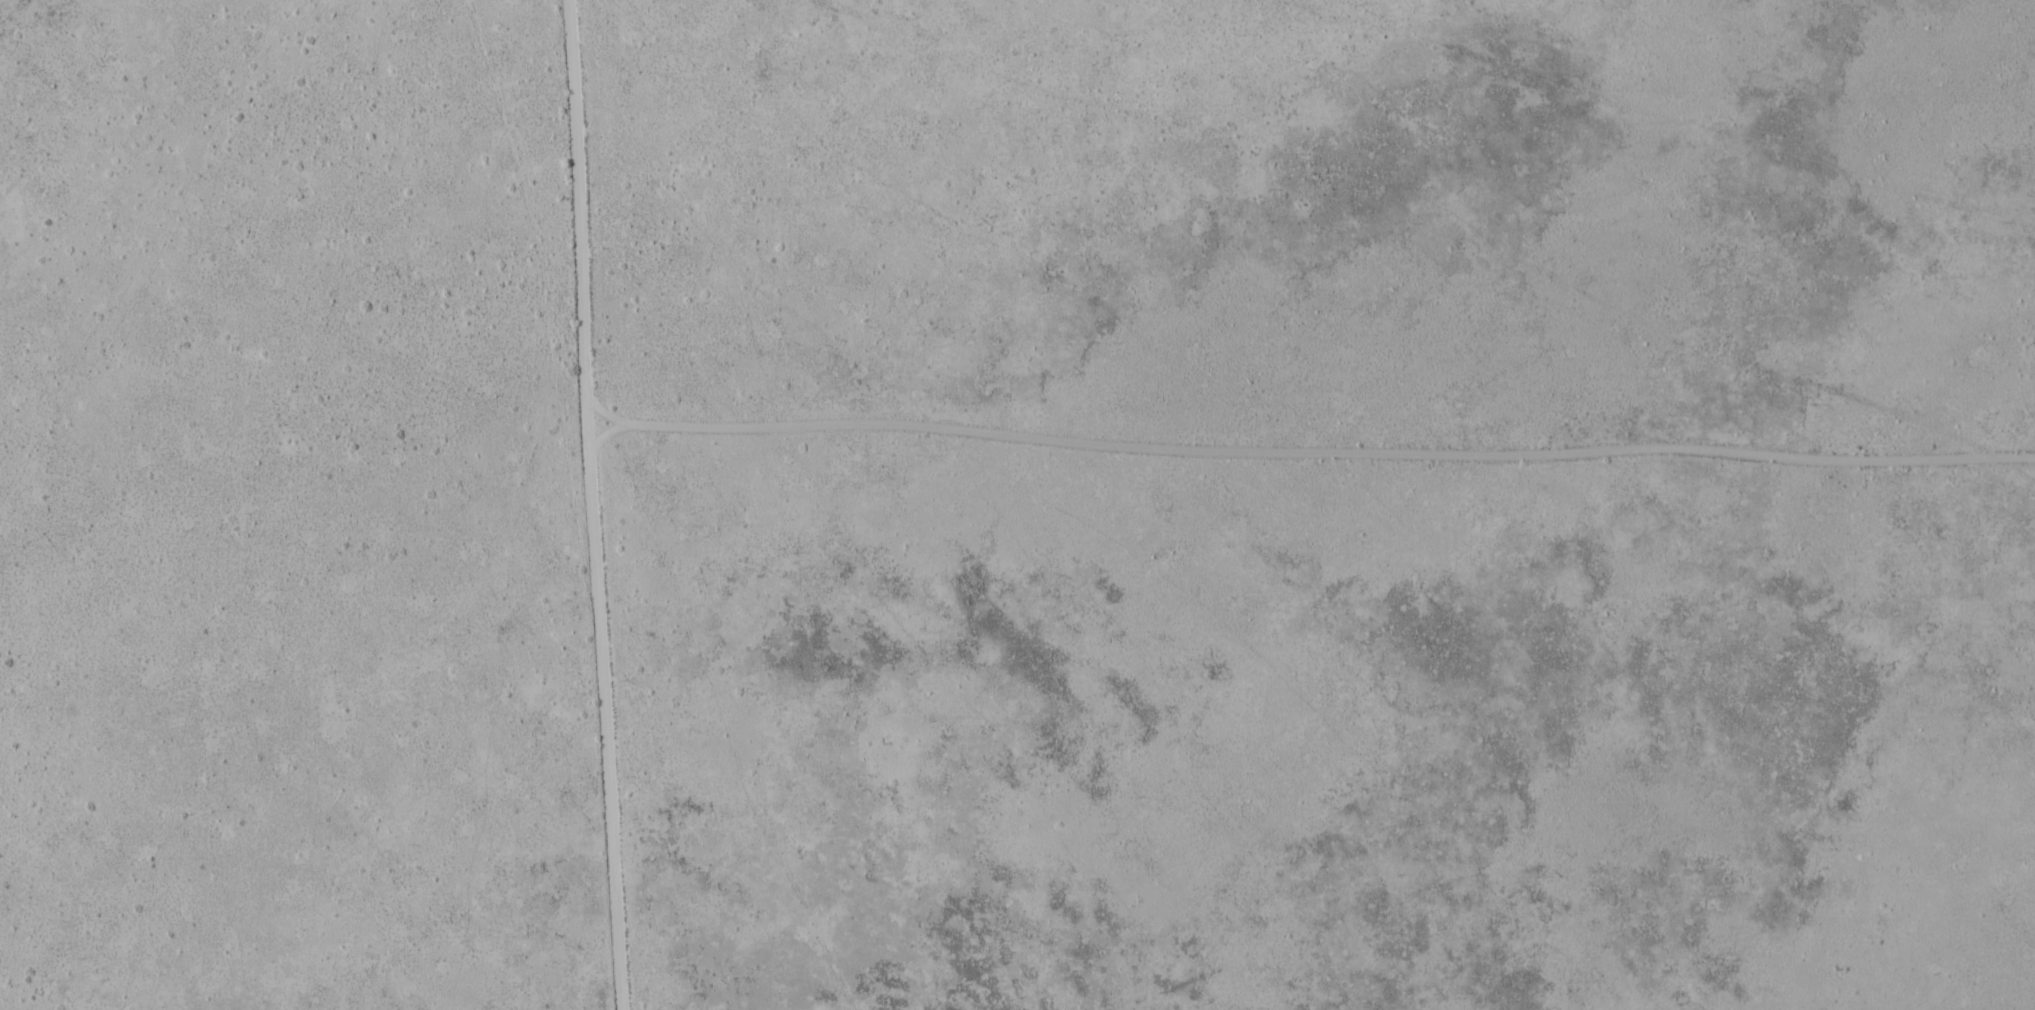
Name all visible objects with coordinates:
road: (1310, 450)
road: (588, 505)

